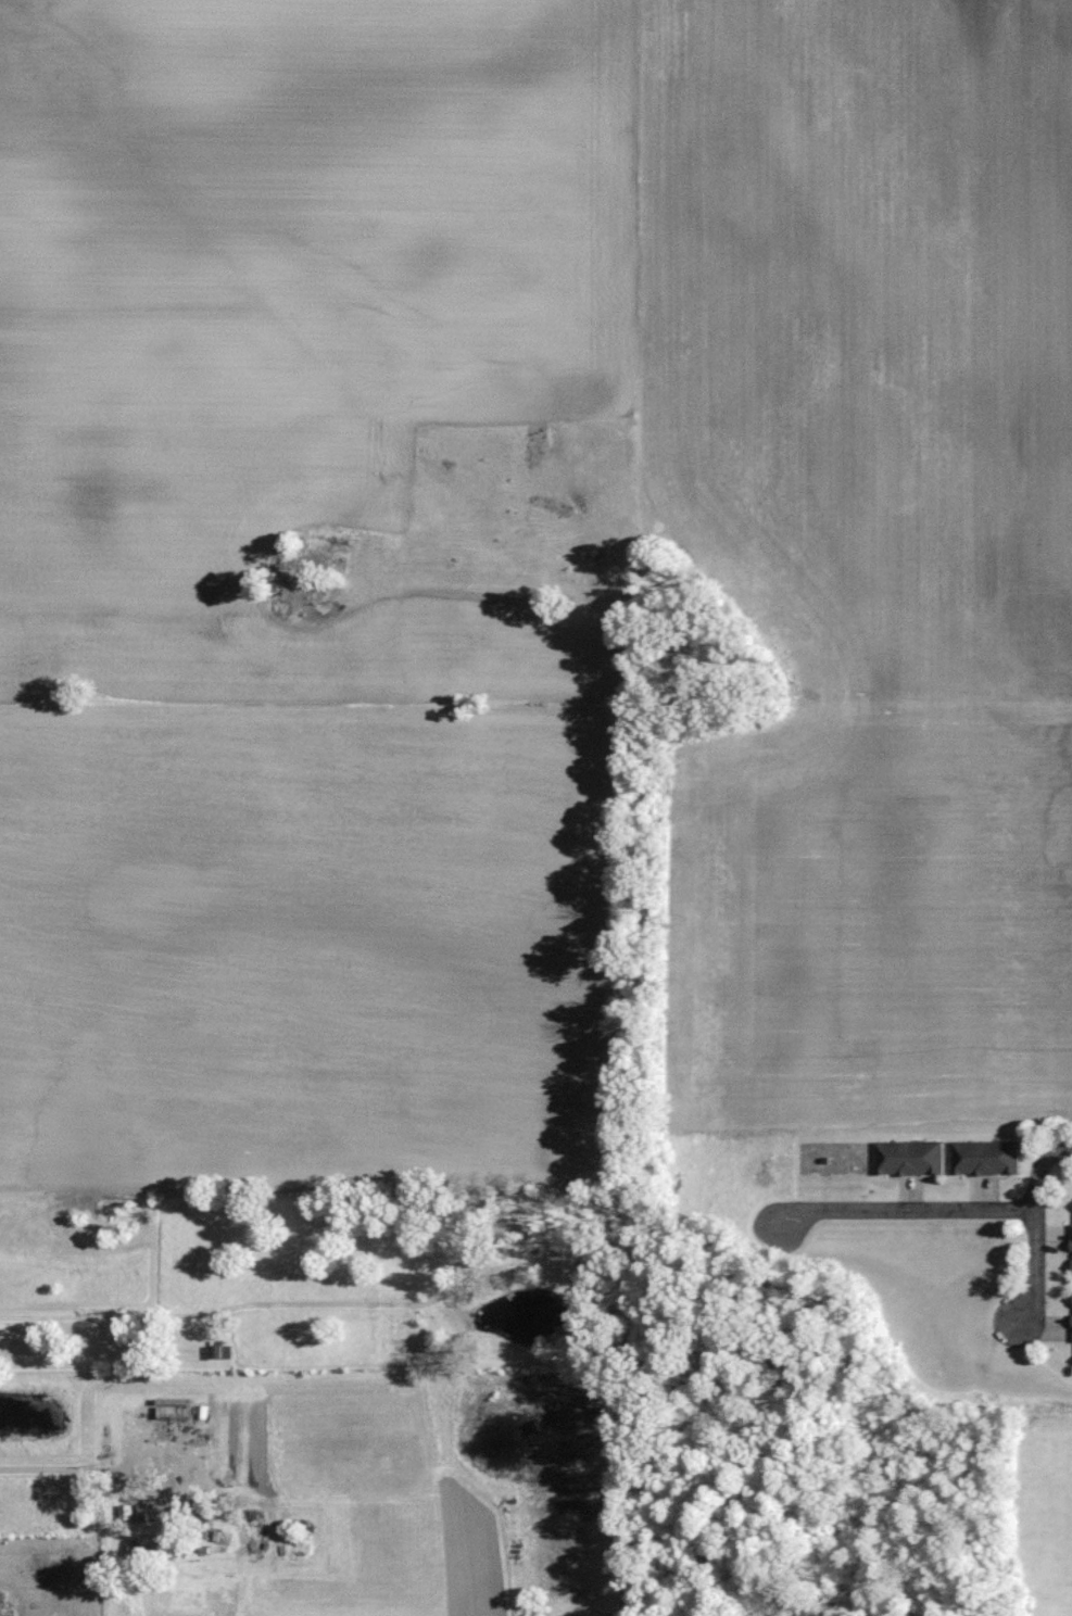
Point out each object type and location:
building: (854, 1157)
building: (909, 1157)
building: (986, 1157)
road: (1038, 1167)
road: (900, 1211)
road: (1035, 1272)
road: (99, 1315)
building: (223, 1353)
building: (175, 1412)
building: (173, 1465)
road: (75, 1468)
building: (154, 1550)

